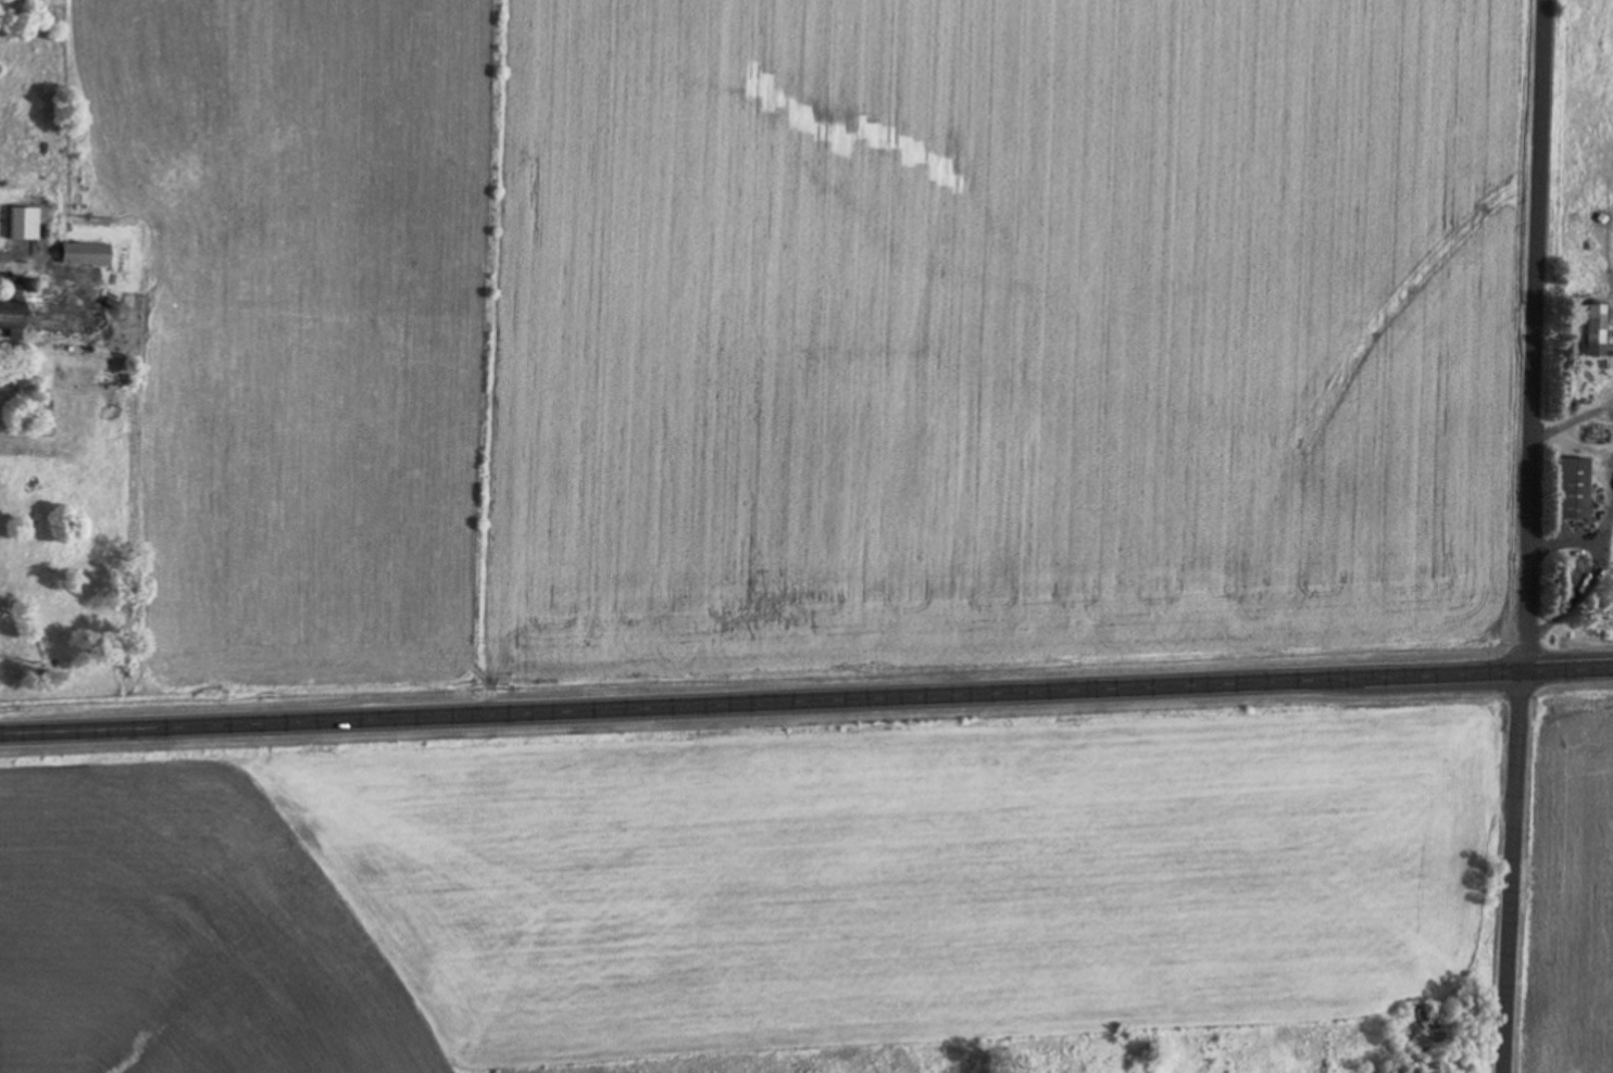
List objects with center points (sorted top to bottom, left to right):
building: (84, 253)
building: (32, 316)
building: (1595, 329)
building: (1571, 488)
road: (1521, 536)
road: (806, 698)

